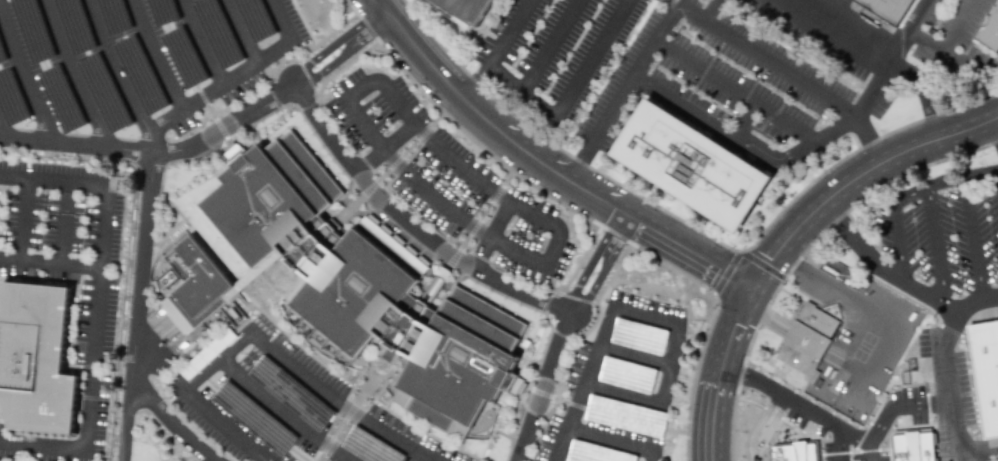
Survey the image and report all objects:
building: (466, 8)
building: (886, 9)
road: (262, 26)
road: (905, 26)
building: (990, 28)
road: (244, 30)
road: (335, 40)
road: (203, 41)
road: (654, 41)
road: (949, 43)
road: (549, 45)
road: (879, 46)
road: (156, 54)
road: (346, 54)
road: (760, 59)
road: (121, 71)
road: (24, 73)
road: (80, 73)
road: (472, 78)
road: (738, 88)
road: (921, 91)
road: (396, 108)
road: (688, 110)
road: (545, 112)
road: (745, 119)
road: (2, 126)
road: (994, 129)
road: (866, 142)
road: (154, 149)
building: (692, 165)
road: (389, 167)
road: (545, 169)
road: (858, 178)
road: (907, 194)
road: (581, 215)
road: (22, 221)
road: (409, 222)
road: (60, 224)
road: (477, 224)
road: (689, 225)
road: (144, 226)
road: (489, 235)
road: (445, 236)
road: (971, 239)
road: (619, 241)
road: (935, 244)
road: (804, 252)
road: (526, 257)
road: (578, 262)
road: (589, 262)
road: (765, 262)
road: (49, 265)
road: (898, 278)
building: (364, 286)
traffic signals: (755, 287)
road: (589, 291)
road: (918, 302)
road: (94, 311)
road: (870, 316)
road: (735, 326)
building: (808, 340)
road: (675, 343)
road: (149, 352)
road: (634, 355)
building: (36, 359)
road: (226, 361)
building: (986, 371)
road: (720, 375)
road: (947, 381)
road: (326, 386)
road: (542, 388)
road: (717, 390)
road: (172, 421)
road: (841, 422)
road: (712, 429)
road: (588, 436)
building: (913, 445)
road: (559, 446)
building: (794, 452)
road: (983, 459)

